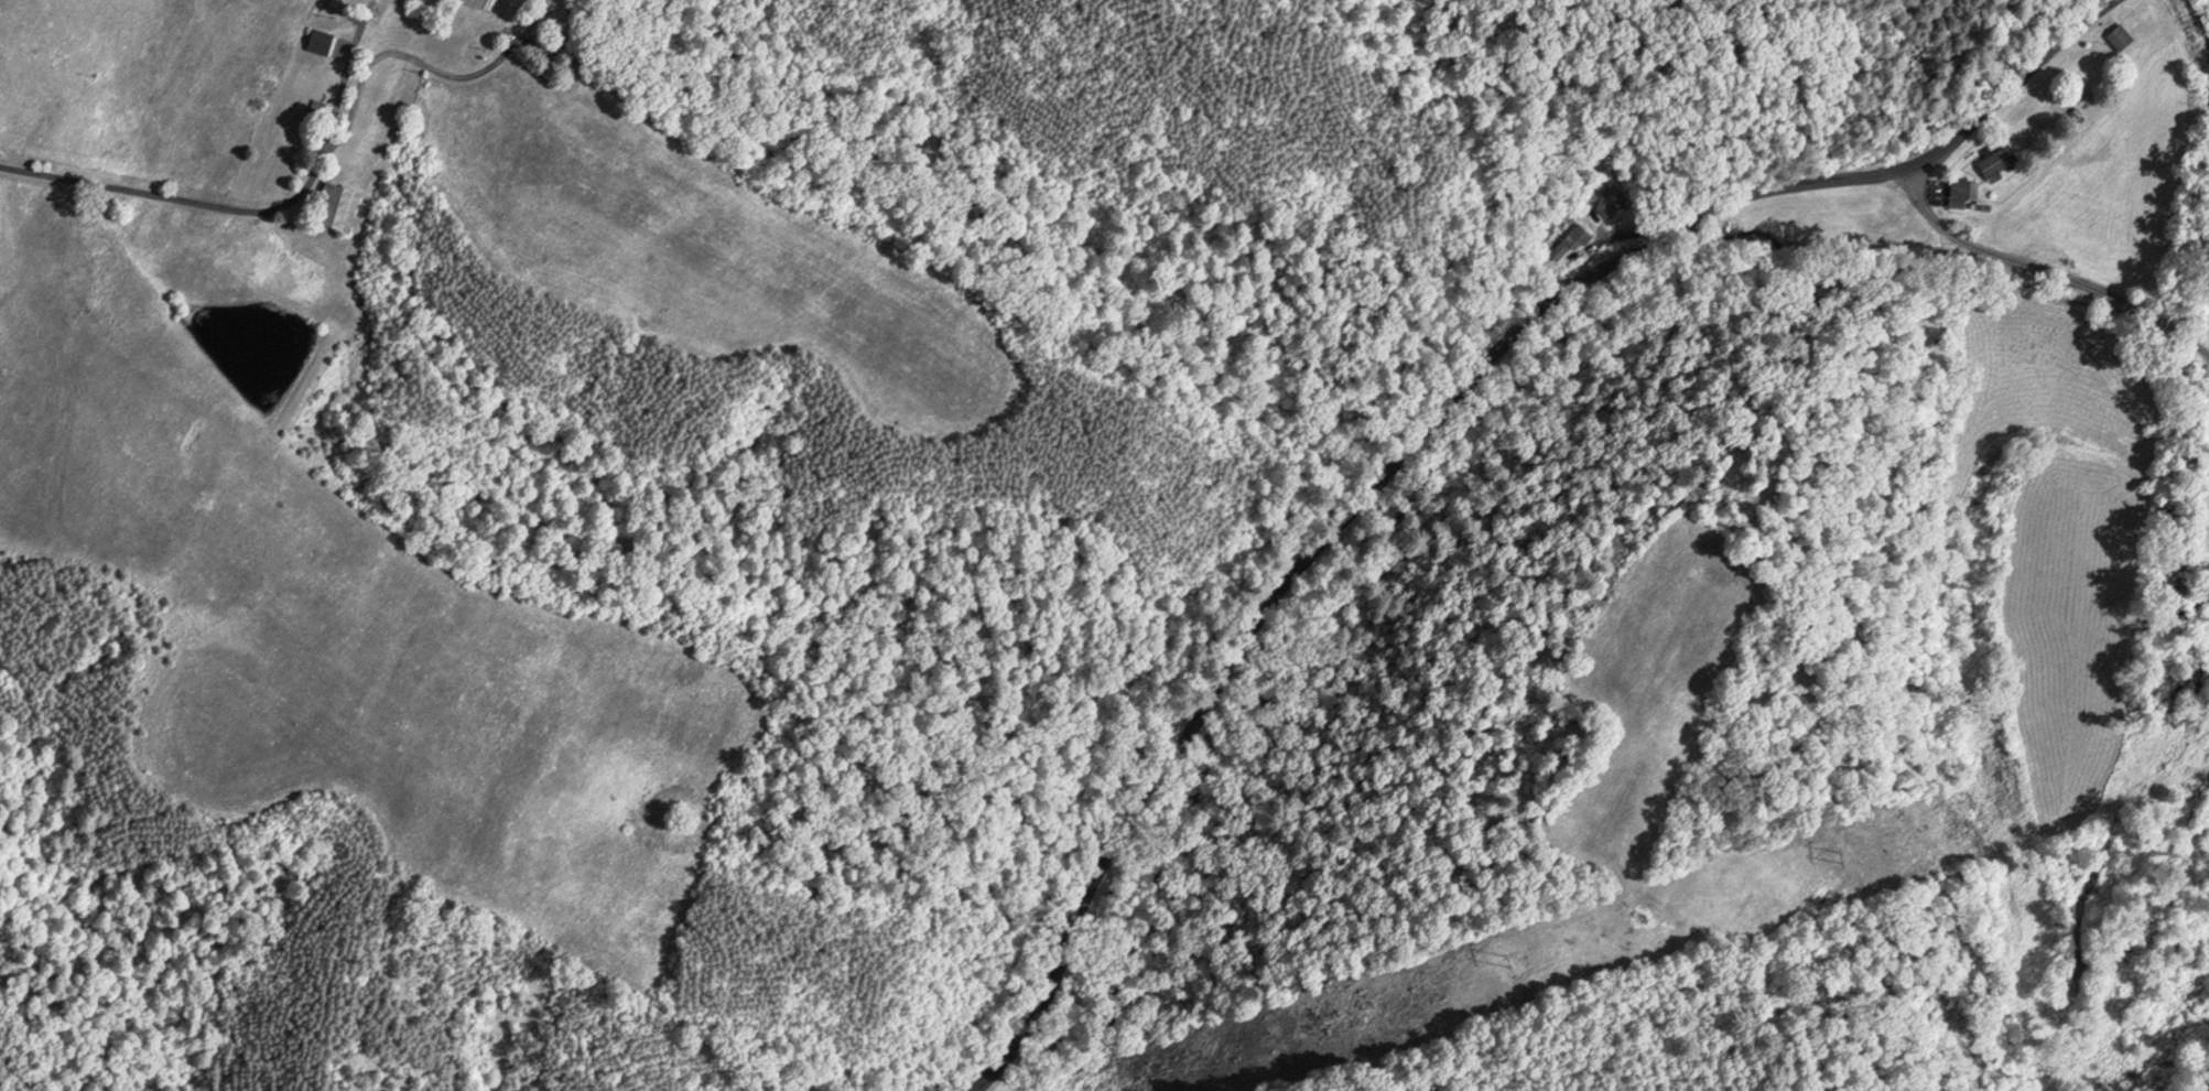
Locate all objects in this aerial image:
building: (541, 28)
building: (2115, 35)
road: (399, 52)
road: (2015, 88)
road: (327, 132)
building: (1993, 158)
road: (118, 191)
building: (1957, 191)
building: (1607, 199)
building: (332, 204)
building: (1567, 240)
road: (2049, 279)
road: (1347, 520)
river: (2192, 1074)

